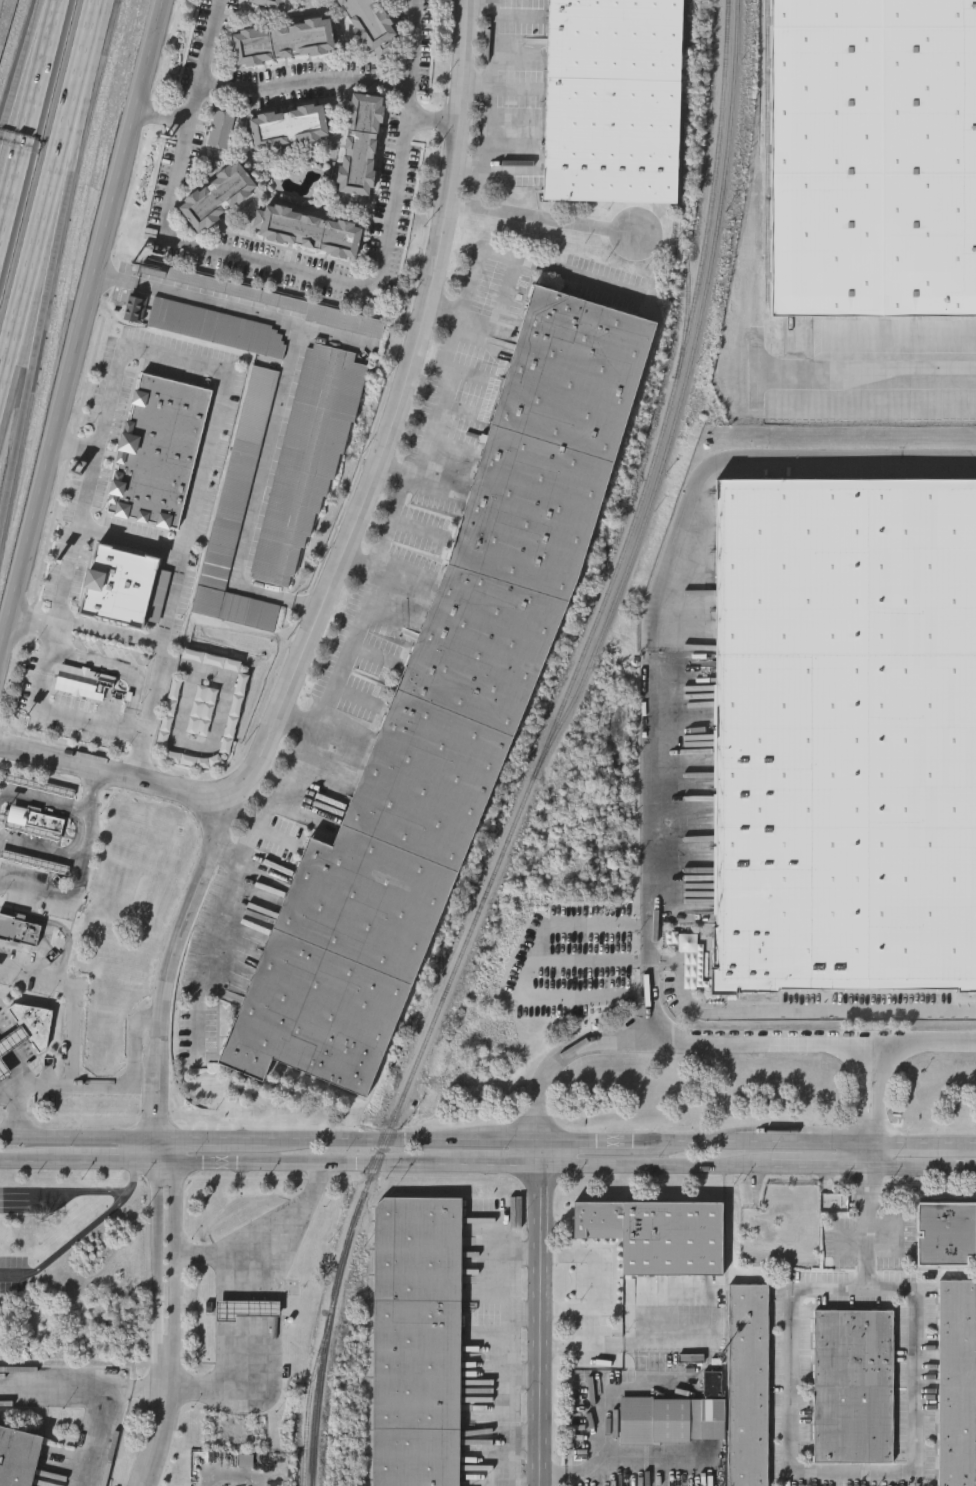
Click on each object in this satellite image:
building: (268, 4)
building: (369, 22)
road: (37, 29)
road: (84, 42)
building: (282, 43)
road: (304, 80)
road: (11, 97)
building: (612, 101)
road: (487, 103)
road: (28, 115)
road: (160, 117)
road: (432, 121)
building: (288, 128)
building: (220, 129)
road: (71, 130)
railway: (770, 140)
building: (359, 145)
building: (874, 156)
railway: (684, 188)
road: (479, 194)
building: (217, 199)
road: (540, 220)
road: (36, 232)
building: (310, 233)
road: (528, 260)
road: (294, 270)
building: (284, 303)
building: (135, 308)
road: (81, 322)
building: (216, 327)
road: (36, 341)
road: (147, 351)
road: (881, 368)
road: (442, 385)
railway: (683, 394)
road: (280, 395)
road: (75, 447)
building: (158, 452)
road: (741, 457)
building: (307, 458)
road: (397, 509)
building: (236, 510)
road: (355, 522)
road: (134, 541)
building: (124, 588)
road: (32, 623)
road: (355, 628)
road: (112, 633)
building: (83, 680)
building: (447, 711)
building: (845, 736)
railway: (544, 749)
building: (40, 785)
road: (281, 792)
road: (3, 794)
road: (47, 803)
building: (35, 821)
road: (41, 853)
building: (34, 861)
road: (79, 875)
building: (19, 930)
road: (649, 939)
road: (172, 961)
road: (528, 969)
road: (72, 997)
building: (34, 1023)
building: (12, 1040)
gas station: (12, 1040)
road: (812, 1040)
road: (922, 1040)
building: (4, 1070)
gas station: (4, 1070)
road: (96, 1083)
road: (10, 1095)
road: (81, 1135)
road: (216, 1138)
road: (402, 1141)
road: (592, 1143)
road: (758, 1143)
road: (915, 1147)
road: (969, 1148)
road: (170, 1150)
road: (160, 1151)
road: (868, 1157)
road: (27, 1163)
road: (106, 1163)
road: (166, 1164)
road: (308, 1164)
road: (489, 1165)
road: (654, 1167)
road: (819, 1168)
road: (922, 1169)
road: (65, 1192)
road: (94, 1224)
building: (945, 1232)
building: (658, 1233)
road: (265, 1237)
road: (176, 1264)
road: (158, 1265)
road: (17, 1274)
road: (592, 1282)
parking lot: (593, 1310)
road: (538, 1314)
road: (592, 1328)
building: (415, 1341)
road: (635, 1347)
building: (957, 1381)
building: (747, 1383)
road: (225, 1386)
building: (854, 1386)
road: (603, 1389)
road: (55, 1393)
railway: (309, 1399)
road: (105, 1410)
building: (671, 1420)
road: (159, 1425)
building: (17, 1457)
road: (626, 1470)
road: (907, 1475)
road: (231, 1484)

